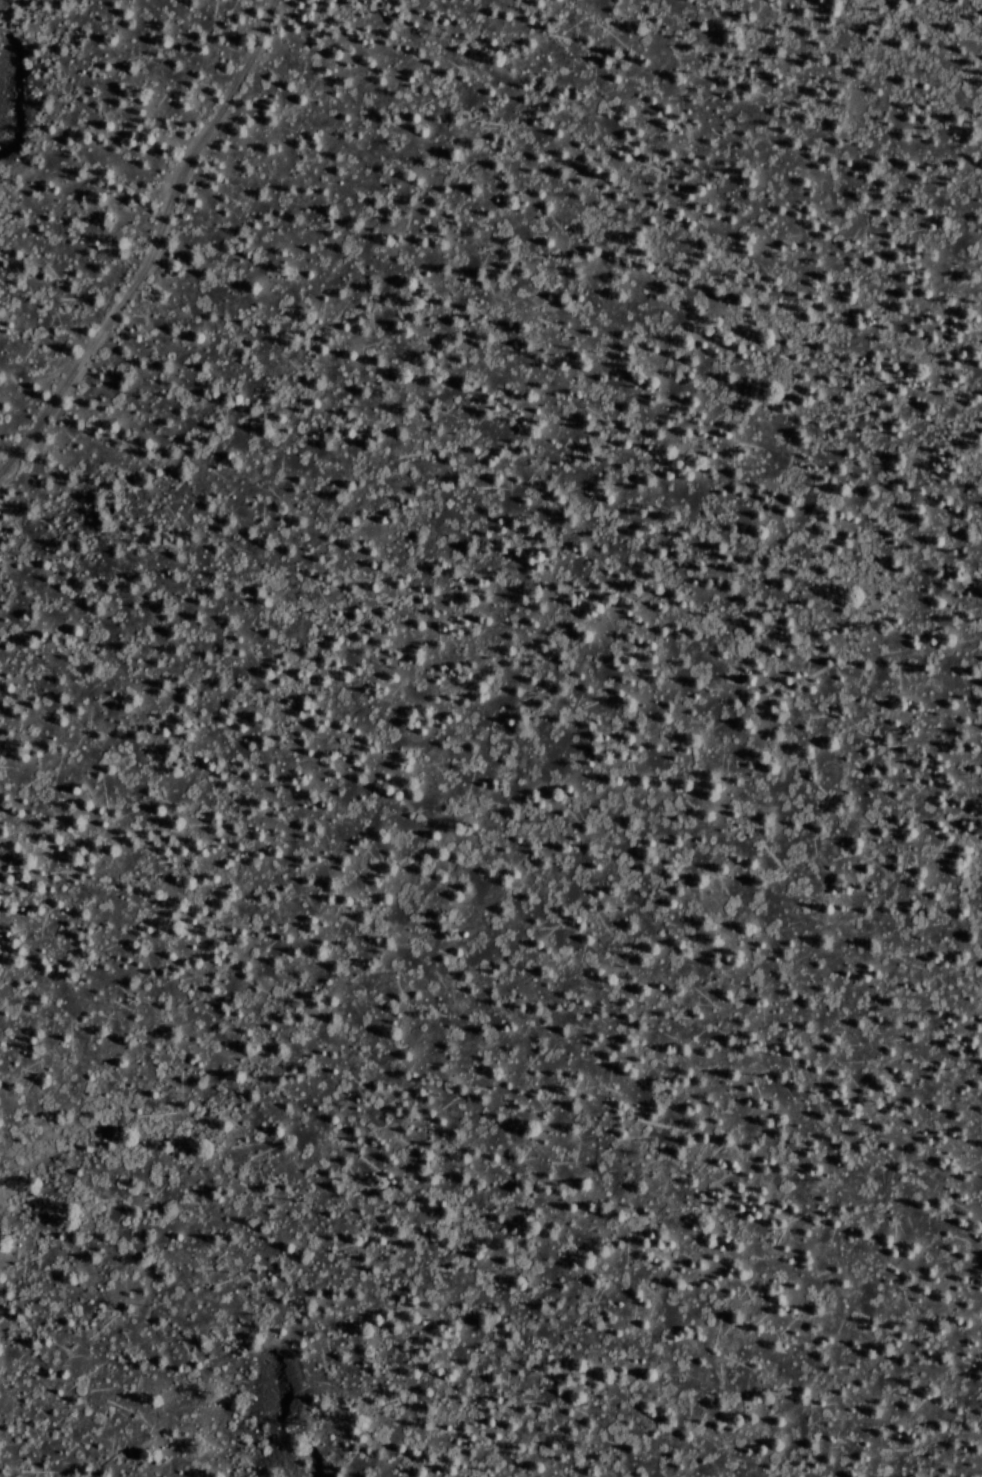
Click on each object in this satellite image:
road: (155, 246)

